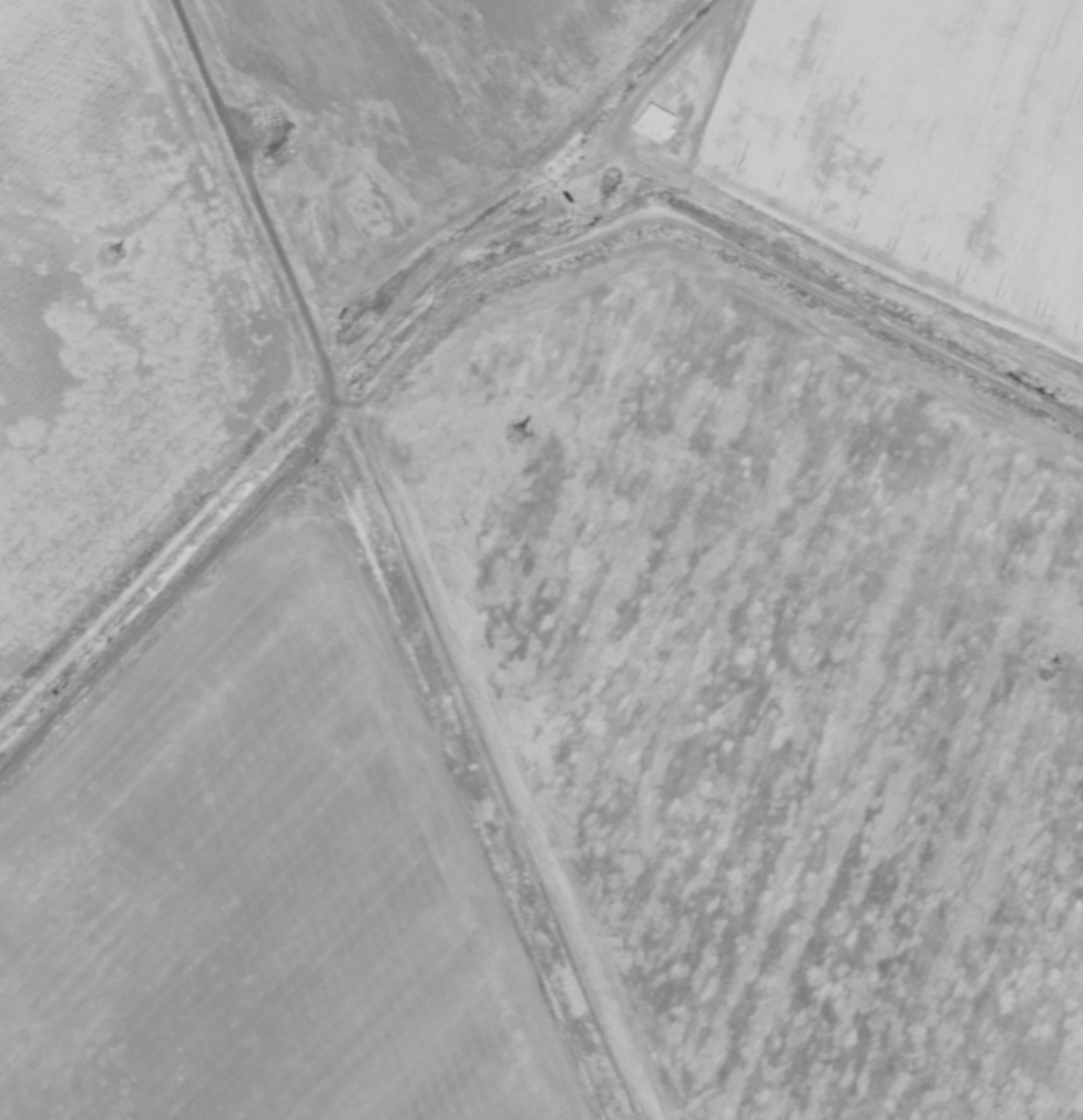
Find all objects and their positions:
crop: (544, 27)
power tower: (110, 256)
road: (308, 414)
power tower: (535, 442)
power tower: (1046, 670)

